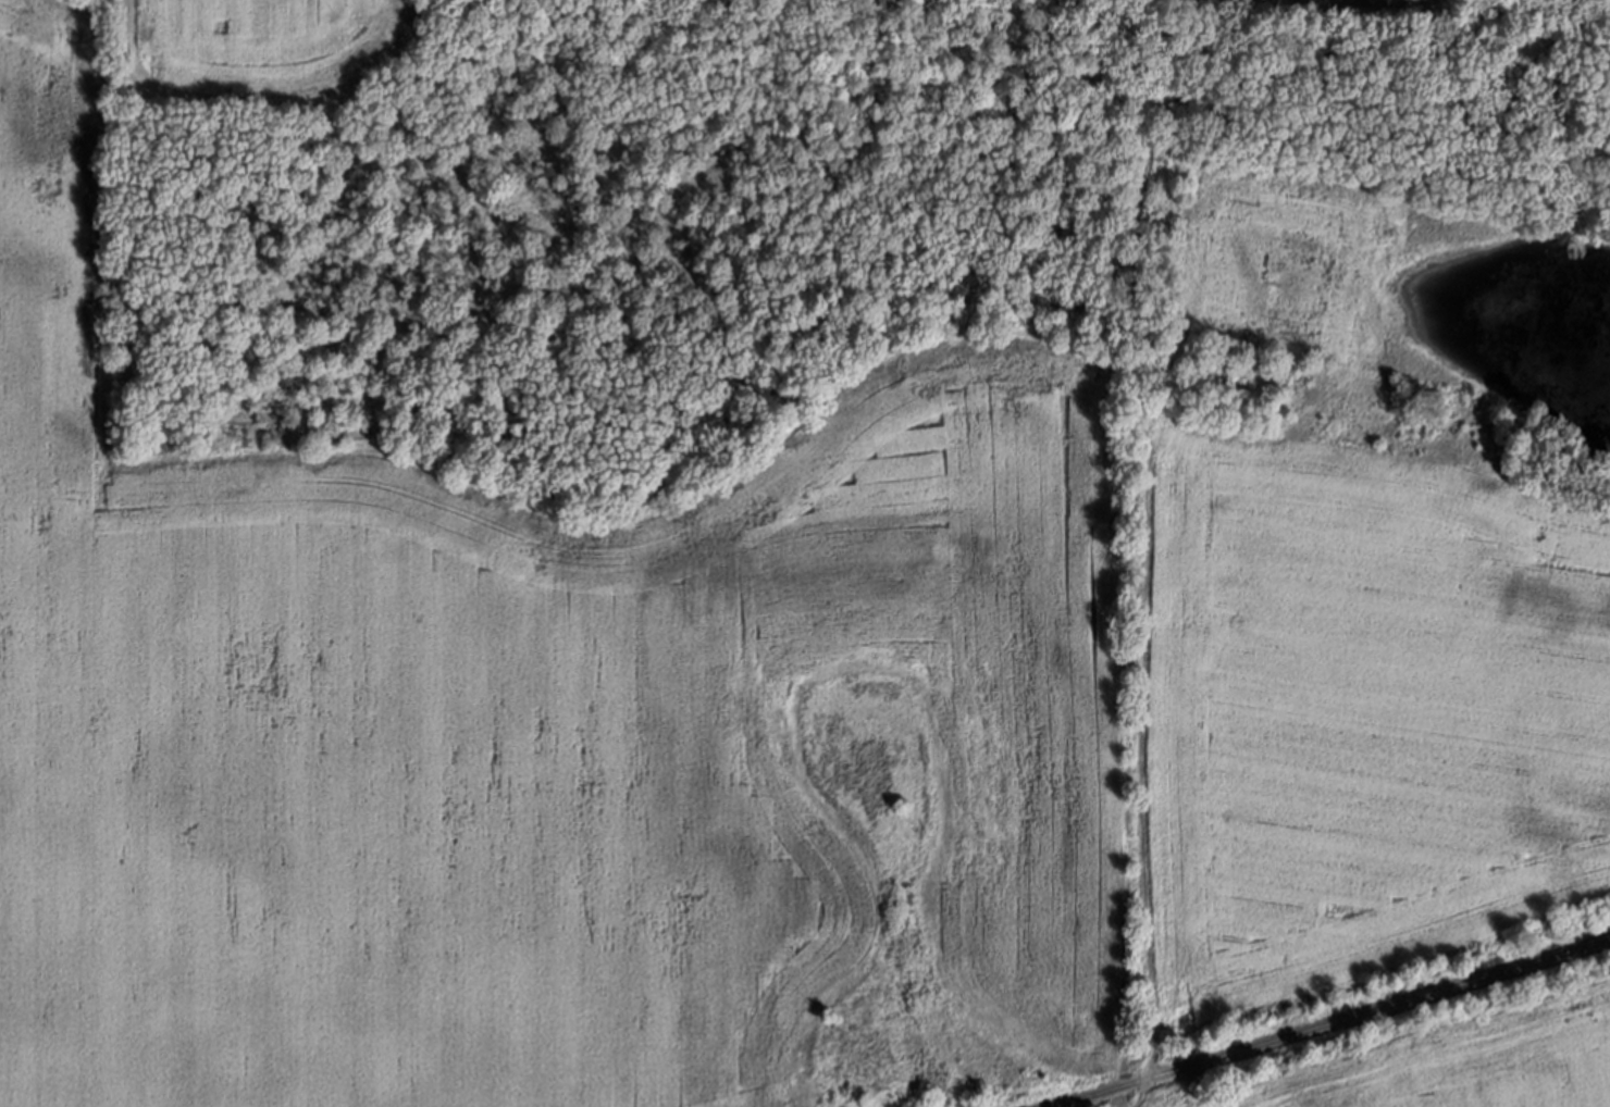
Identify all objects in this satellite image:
railway: (1328, 1022)

